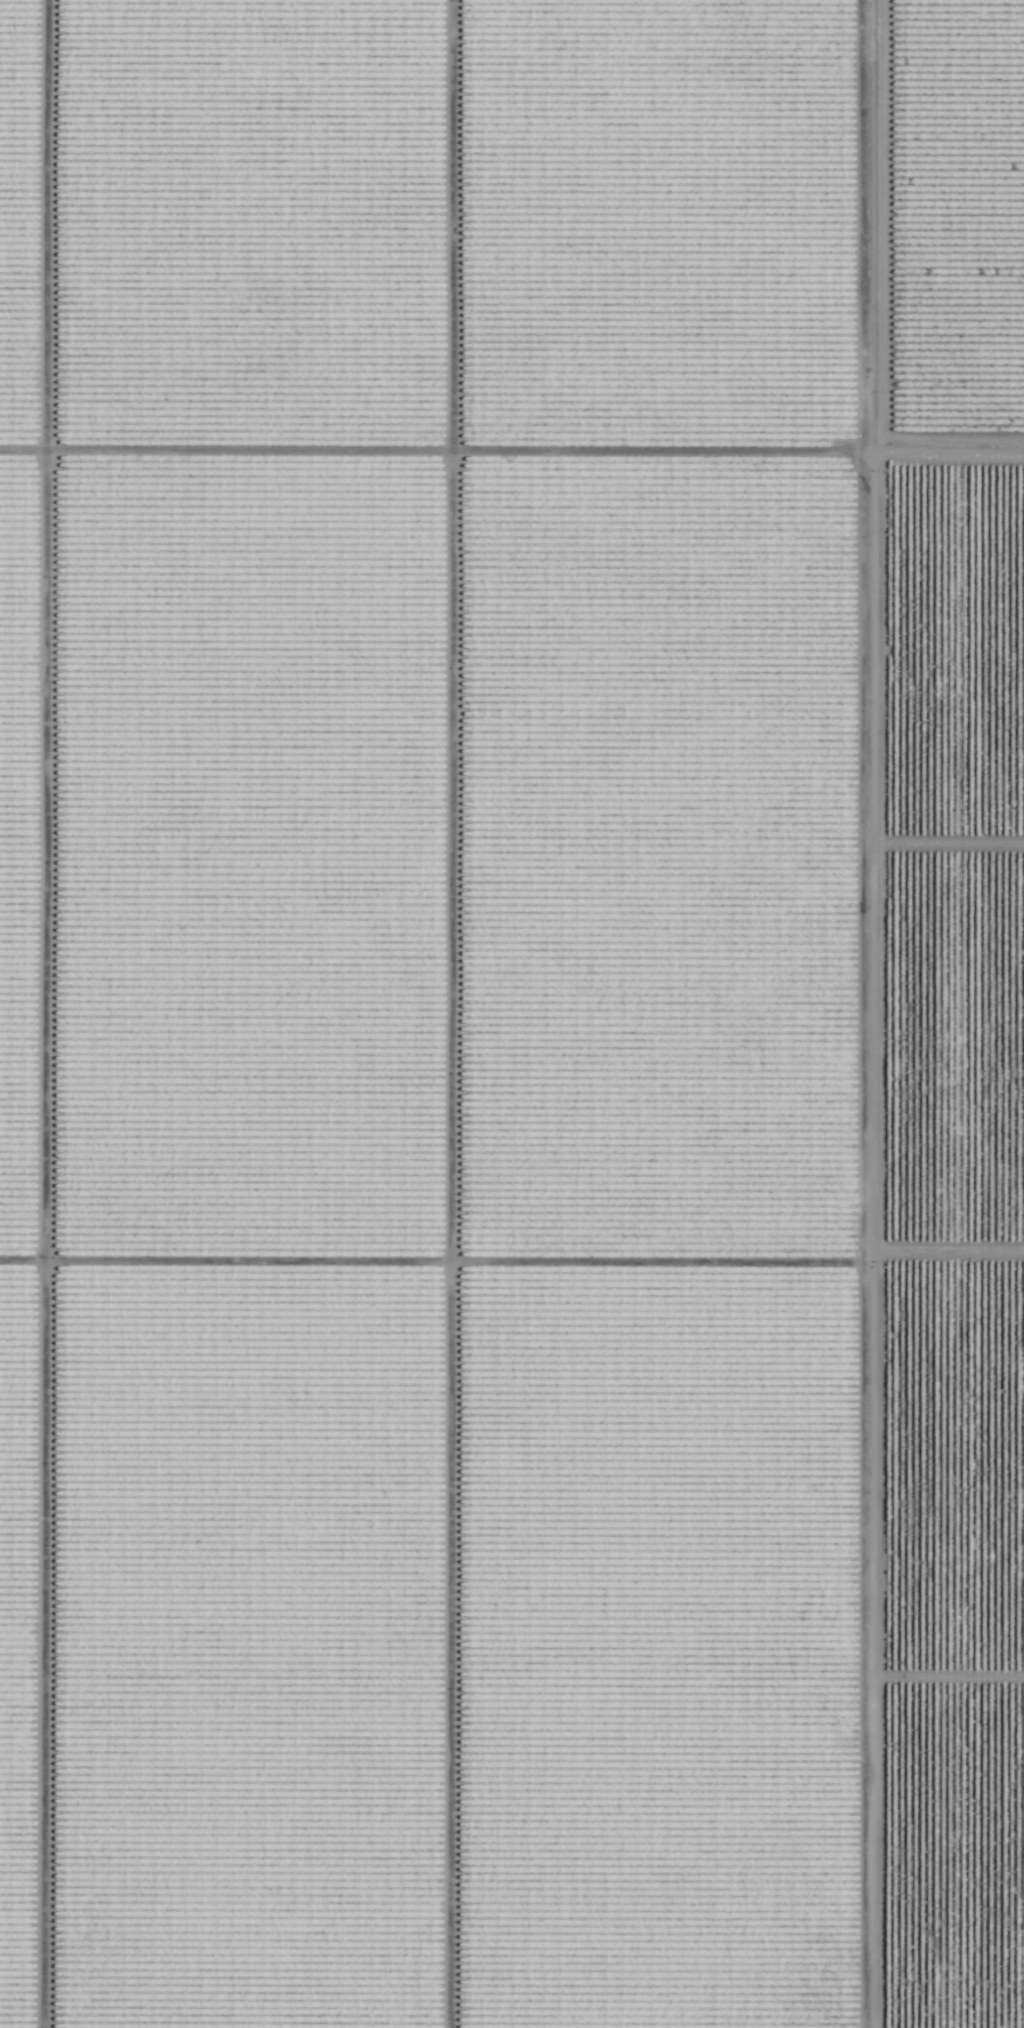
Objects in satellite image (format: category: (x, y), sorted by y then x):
road: (511, 471)
crop: (512, 1014)

